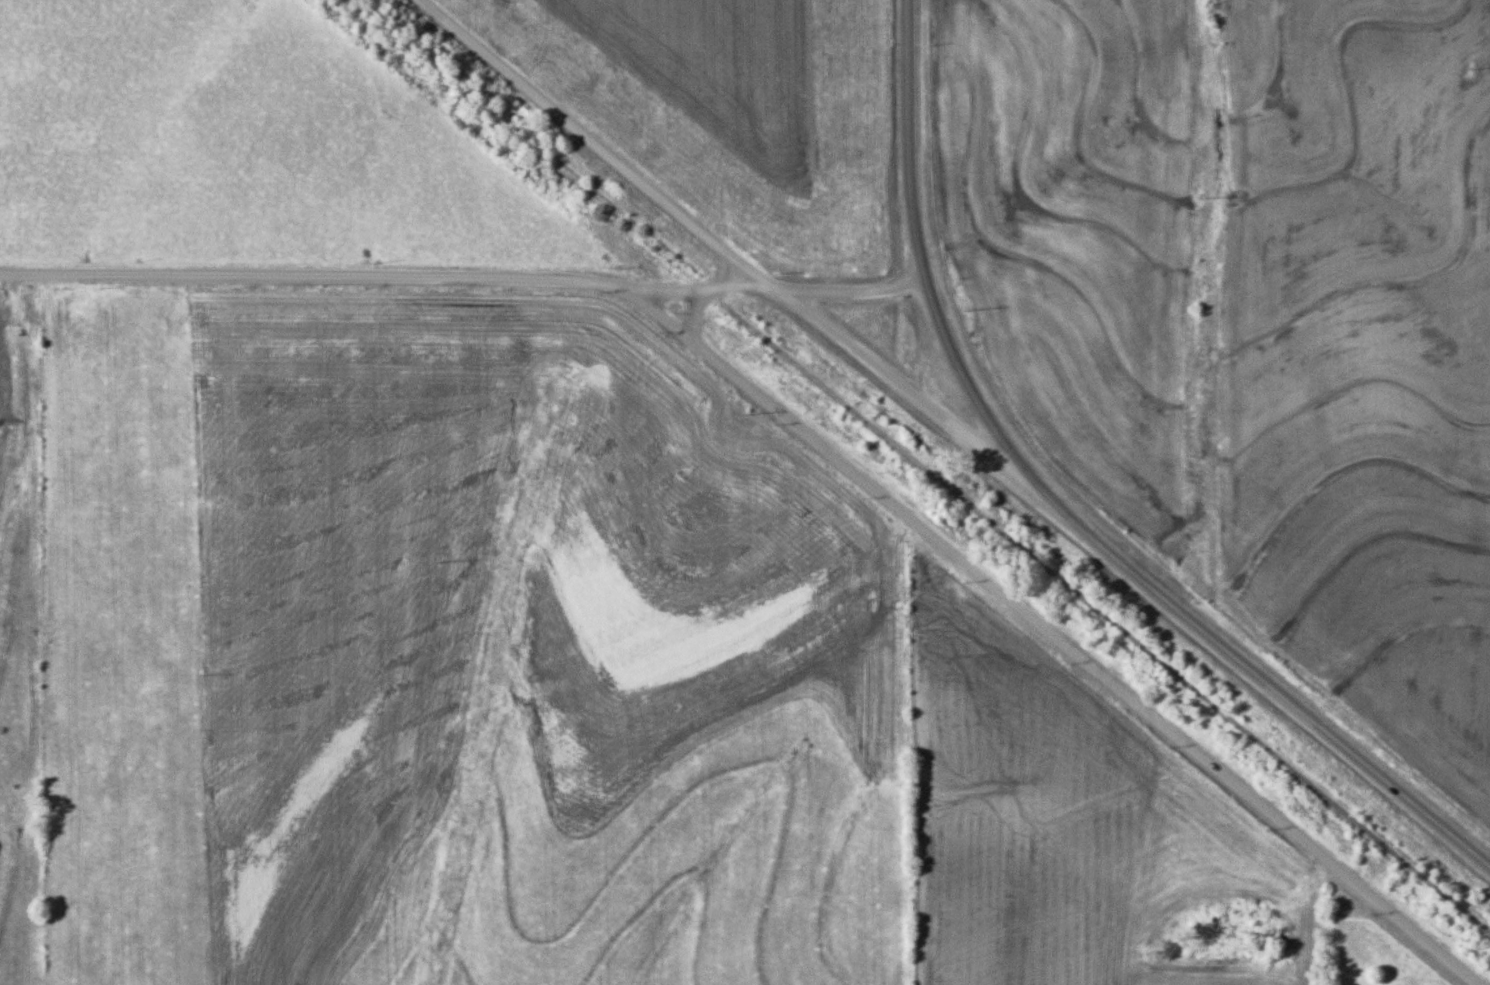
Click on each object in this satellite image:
road: (653, 196)
road: (720, 283)
road: (658, 297)
road: (693, 325)
road: (917, 400)
road: (809, 439)
road: (1058, 515)
building: (1301, 805)

